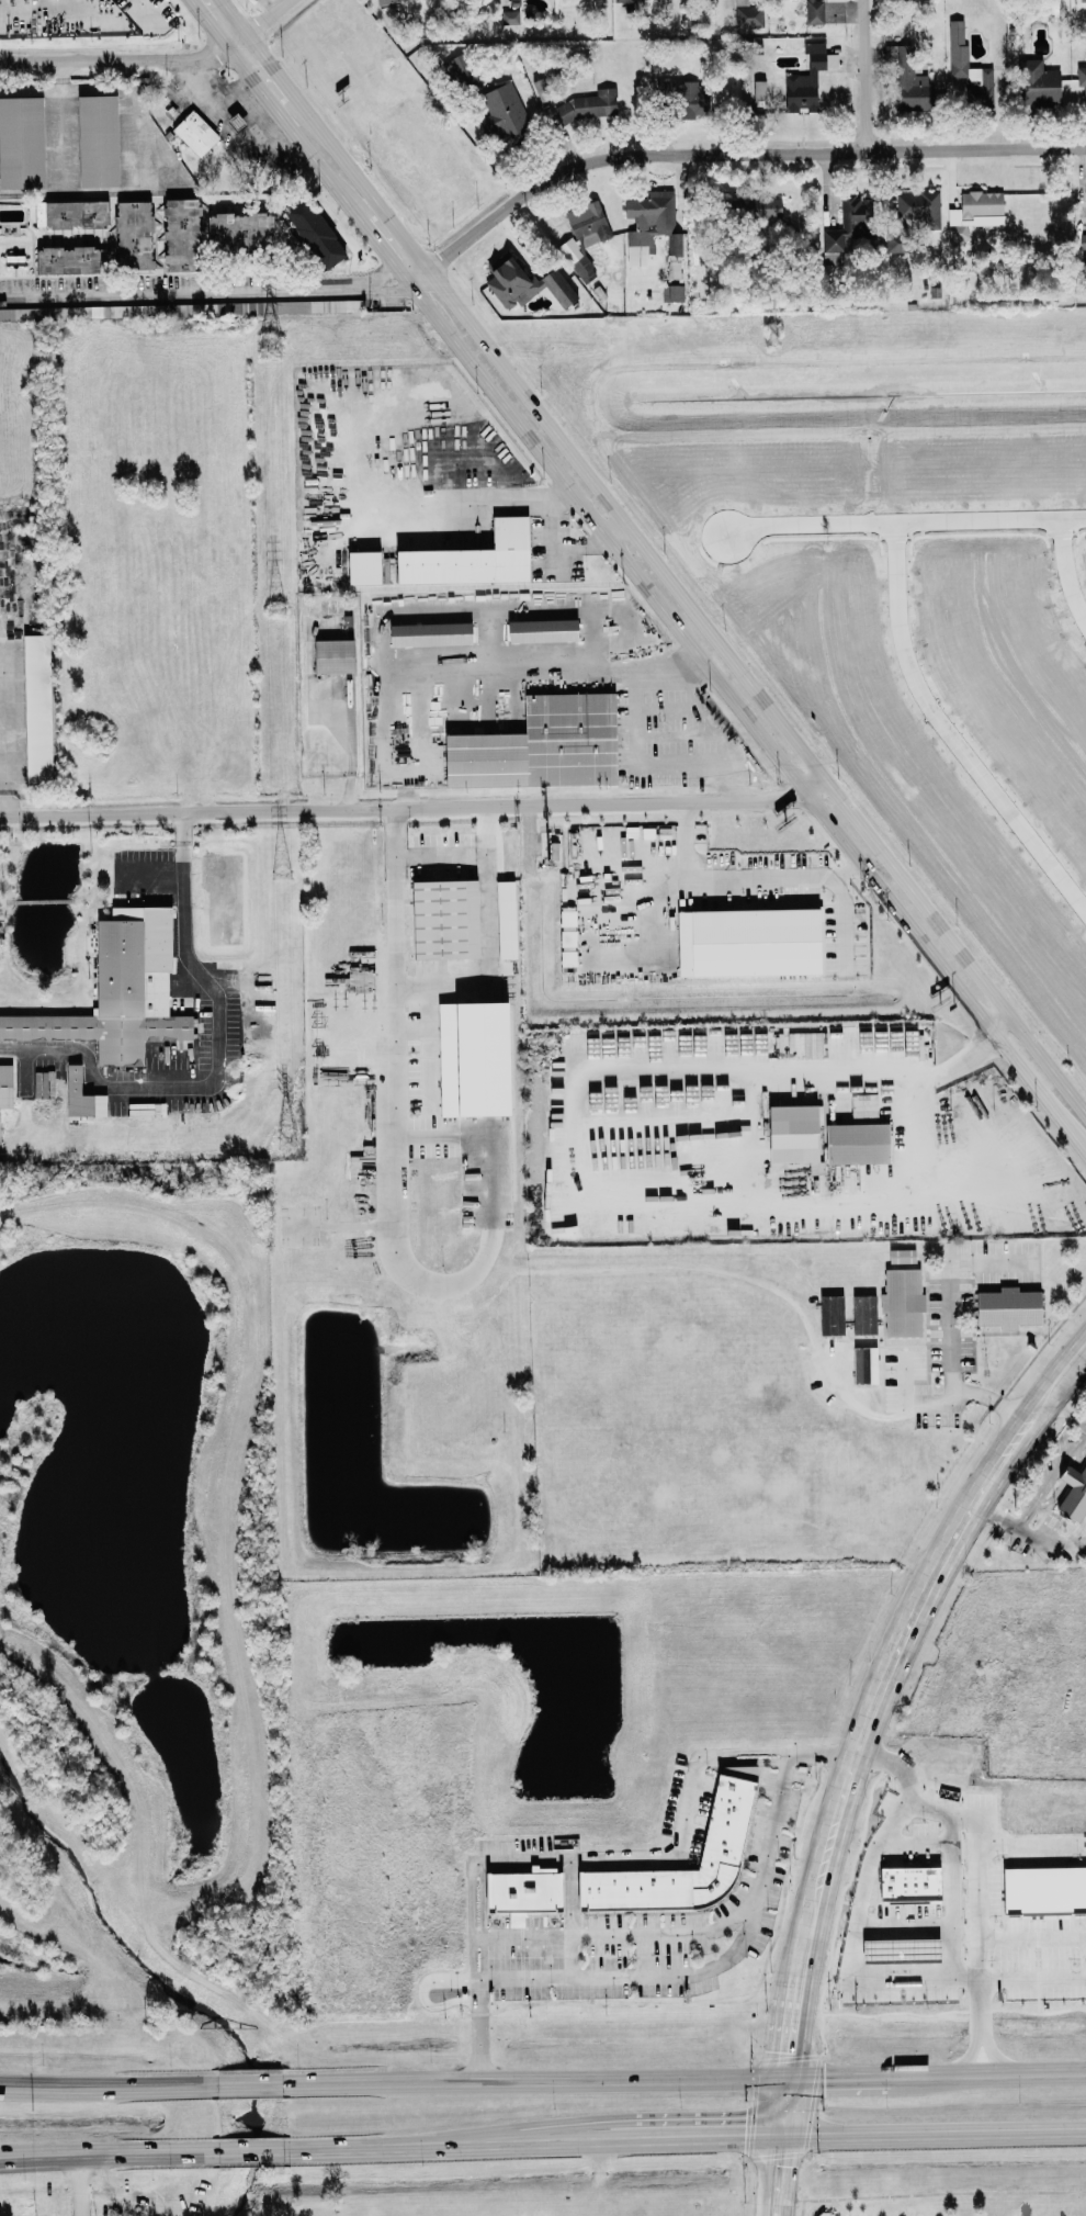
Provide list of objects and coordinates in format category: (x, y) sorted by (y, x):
building: (624, 0)
building: (385, 1)
building: (743, 2)
building: (815, 11)
road: (263, 15)
building: (749, 15)
road: (233, 16)
building: (510, 18)
building: (958, 43)
road: (126, 58)
road: (271, 65)
building: (453, 65)
road: (868, 72)
building: (808, 79)
building: (1082, 79)
building: (912, 82)
building: (1039, 82)
building: (541, 90)
building: (759, 90)
building: (686, 97)
road: (234, 105)
building: (590, 105)
building: (504, 112)
road: (59, 119)
building: (237, 122)
building: (196, 133)
building: (99, 139)
building: (22, 143)
road: (726, 150)
building: (756, 206)
building: (920, 207)
building: (978, 209)
building: (75, 213)
building: (655, 220)
building: (589, 223)
building: (847, 223)
building: (960, 230)
building: (241, 232)
building: (315, 232)
building: (183, 234)
building: (135, 235)
building: (1084, 240)
building: (900, 241)
road: (330, 246)
building: (72, 259)
building: (585, 269)
building: (525, 282)
road: (203, 291)
building: (674, 292)
building: (299, 306)
building: (184, 310)
building: (91, 311)
building: (24, 313)
power tower: (772, 335)
power tower: (270, 344)
road: (559, 494)
road: (508, 499)
road: (907, 526)
road: (615, 528)
building: (473, 558)
building: (364, 567)
road: (1068, 573)
road: (636, 576)
road: (691, 604)
power tower: (278, 609)
building: (543, 630)
building: (431, 633)
building: (335, 655)
road: (391, 665)
road: (584, 668)
building: (38, 708)
road: (949, 736)
building: (542, 745)
road: (635, 747)
road: (417, 807)
power tower: (282, 871)
road: (840, 879)
road: (704, 888)
road: (485, 891)
road: (182, 897)
building: (446, 919)
building: (507, 919)
building: (749, 942)
building: (110, 1004)
road: (925, 1075)
building: (5, 1085)
building: (78, 1093)
road: (929, 1124)
building: (794, 1133)
power tower: (287, 1138)
building: (858, 1143)
building: (849, 1176)
building: (903, 1256)
road: (541, 1269)
road: (951, 1283)
building: (903, 1302)
building: (1009, 1307)
building: (864, 1314)
building: (833, 1315)
building: (866, 1364)
road: (1044, 1402)
road: (1066, 1413)
road: (1050, 1477)
building: (1074, 1494)
road: (1027, 1534)
road: (910, 1633)
building: (725, 1825)
road: (597, 1861)
road: (985, 1874)
building: (525, 1892)
road: (815, 1892)
road: (955, 1899)
road: (612, 1935)
road: (853, 1949)
road: (710, 1966)
road: (1036, 1981)
river: (166, 1987)
road: (792, 2024)
road: (984, 2073)
road: (835, 2077)
traffic signals: (825, 2078)
road: (535, 2081)
road: (249, 2084)
road: (106, 2085)
road: (776, 2106)
road: (790, 2106)
road: (940, 2131)
traffic signals: (746, 2134)
road: (697, 2135)
road: (579, 2138)
road: (750, 2141)
road: (427, 2145)
road: (256, 2150)
road: (108, 2152)
traffic signals: (791, 2167)
road: (758, 2174)
road: (789, 2174)
road: (79, 2184)
road: (748, 2187)
road: (160, 2215)

